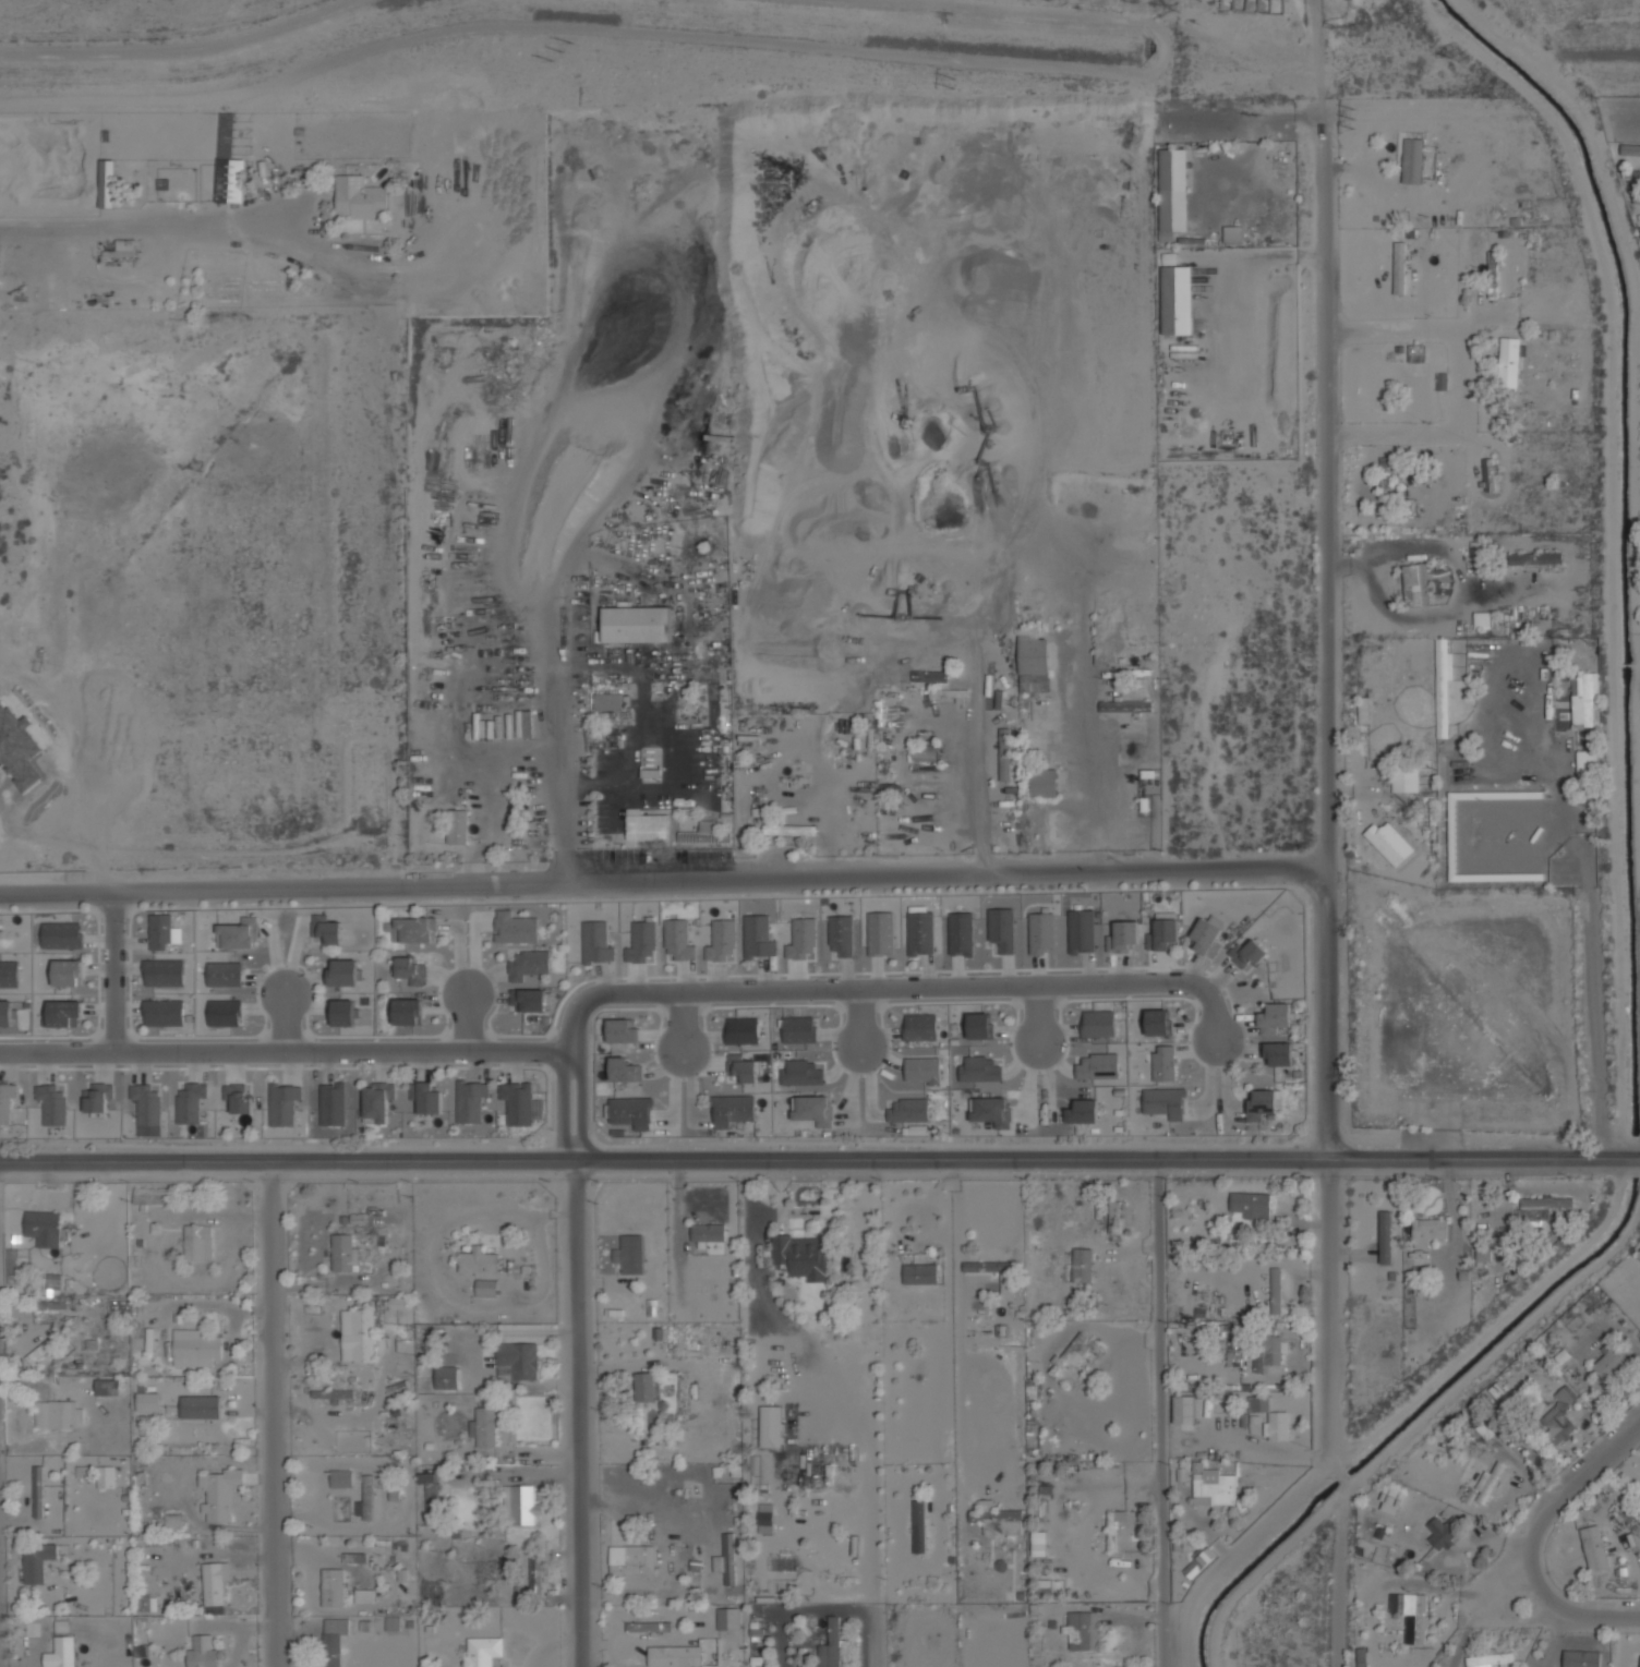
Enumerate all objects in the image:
road: (732, 39)
road: (185, 48)
power tower: (559, 49)
dam: (1613, 72)
power tower: (952, 81)
power tower: (1351, 112)
building: (1407, 148)
building: (1629, 150)
building: (1412, 160)
building: (1636, 174)
building: (229, 177)
building: (106, 183)
building: (1172, 192)
building: (358, 197)
building: (1636, 198)
building: (1639, 228)
building: (1232, 234)
road: (1394, 238)
building: (124, 247)
building: (1168, 258)
building: (1397, 267)
building: (1493, 274)
building: (1177, 300)
building: (1418, 352)
building: (1508, 362)
road: (1464, 378)
building: (1373, 387)
building: (1386, 476)
building: (1535, 558)
building: (1411, 583)
building: (1482, 619)
building: (636, 624)
building: (1033, 661)
road: (576, 665)
building: (1442, 687)
building: (956, 694)
building: (1583, 698)
building: (608, 701)
building: (1125, 706)
building: (1364, 709)
building: (17, 748)
building: (1004, 754)
building: (1585, 765)
road: (1094, 769)
building: (650, 772)
road: (981, 778)
building: (1404, 778)
building: (1045, 783)
building: (646, 825)
building: (456, 826)
building: (1397, 828)
building: (788, 830)
building: (704, 834)
building: (1389, 843)
road: (662, 883)
road: (1325, 884)
building: (326, 928)
building: (515, 928)
building: (1002, 929)
building: (1165, 929)
building: (411, 930)
building: (160, 931)
building: (1081, 931)
building: (920, 932)
building: (1041, 932)
building: (238, 933)
building: (880, 933)
building: (961, 933)
building: (61, 934)
building: (841, 934)
building: (1205, 935)
building: (758, 937)
building: (1123, 937)
building: (678, 940)
building: (801, 940)
building: (640, 941)
building: (722, 941)
building: (595, 942)
building: (1250, 954)
building: (528, 967)
building: (410, 970)
building: (342, 971)
building: (67, 973)
road: (112, 973)
building: (164, 973)
building: (9, 974)
building: (224, 974)
road: (885, 987)
building: (528, 999)
building: (407, 1011)
building: (224, 1012)
building: (343, 1012)
building: (5, 1013)
building: (63, 1013)
building: (164, 1013)
road: (1039, 1014)
building: (1275, 1017)
road: (284, 1019)
road: (859, 1019)
road: (466, 1020)
building: (1157, 1022)
road: (682, 1023)
building: (1107, 1023)
building: (979, 1026)
building: (920, 1027)
building: (799, 1029)
building: (622, 1030)
building: (743, 1030)
road: (285, 1052)
building: (1279, 1053)
building: (1163, 1063)
building: (1109, 1065)
building: (741, 1067)
road: (568, 1068)
building: (922, 1068)
building: (624, 1070)
building: (800, 1072)
building: (2, 1096)
building: (97, 1097)
building: (238, 1097)
building: (425, 1097)
building: (1165, 1102)
building: (1261, 1102)
building: (812, 1109)
building: (908, 1116)
building: (188, 1118)
building: (375, 1118)
building: (469, 1118)
building: (1082, 1118)
building: (4, 1119)
building: (55, 1119)
building: (149, 1119)
building: (281, 1119)
building: (333, 1119)
building: (519, 1119)
building: (731, 1119)
building: (993, 1119)
building: (632, 1120)
road: (572, 1150)
road: (819, 1158)
building: (1252, 1205)
building: (1540, 1208)
building: (1117, 1217)
building: (43, 1228)
building: (1427, 1230)
building: (1383, 1231)
building: (708, 1232)
building: (197, 1242)
building: (342, 1252)
building: (630, 1254)
building: (799, 1255)
building: (478, 1261)
building: (1082, 1265)
building: (919, 1273)
building: (53, 1280)
building: (1006, 1285)
building: (485, 1288)
building: (1277, 1290)
building: (397, 1303)
building: (51, 1304)
building: (358, 1334)
road: (1159, 1340)
building: (44, 1346)
building: (195, 1348)
building: (1071, 1353)
building: (1235, 1353)
building: (1268, 1355)
building: (517, 1361)
building: (1609, 1364)
building: (446, 1377)
building: (646, 1386)
building: (107, 1387)
building: (333, 1393)
building: (147, 1401)
building: (1257, 1403)
building: (200, 1406)
building: (1184, 1409)
building: (55, 1413)
road: (272, 1413)
road: (577, 1413)
building: (1559, 1416)
building: (1277, 1425)
building: (770, 1426)
building: (484, 1427)
building: (106, 1476)
building: (341, 1478)
building: (1494, 1481)
building: (1213, 1486)
building: (430, 1490)
building: (38, 1491)
building: (219, 1493)
building: (1392, 1495)
building: (365, 1499)
building: (519, 1505)
building: (1625, 1513)
building: (173, 1518)
building: (764, 1518)
building: (999, 1519)
building: (919, 1526)
building: (1113, 1530)
building: (1440, 1534)
road: (1529, 1539)
building: (1038, 1543)
building: (1594, 1547)
building: (726, 1559)
building: (631, 1560)
building: (36, 1561)
building: (1198, 1561)
building: (535, 1574)
building: (215, 1586)
building: (333, 1586)
building: (364, 1595)
road: (1161, 1595)
road: (800, 1609)
building: (1412, 1610)
building: (727, 1618)
building: (391, 1623)
building: (649, 1627)
building: (1083, 1630)
road: (871, 1633)
building: (333, 1641)
building: (831, 1645)
building: (202, 1652)
building: (482, 1652)
building: (61, 1653)
building: (1490, 1658)
building: (1582, 1658)

